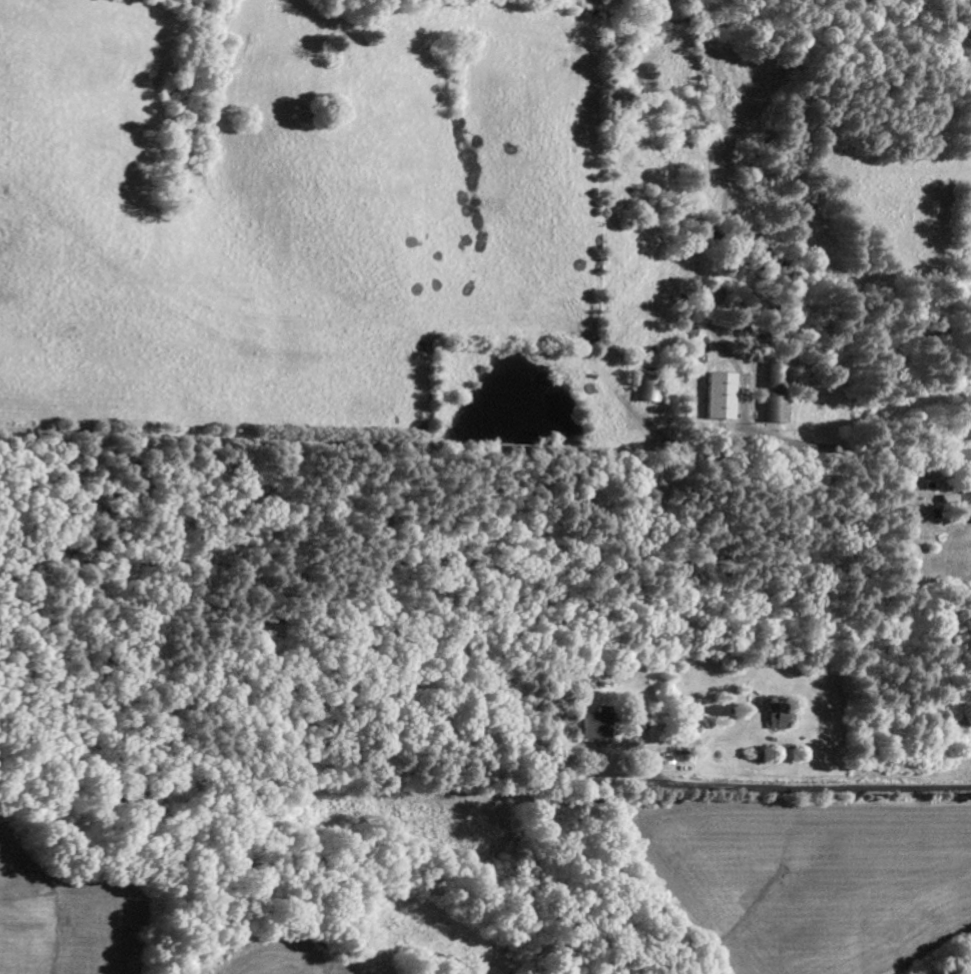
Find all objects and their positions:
road: (864, 123)
building: (646, 386)
building: (773, 393)
building: (720, 396)
building: (779, 715)
building: (596, 723)
road: (805, 787)

